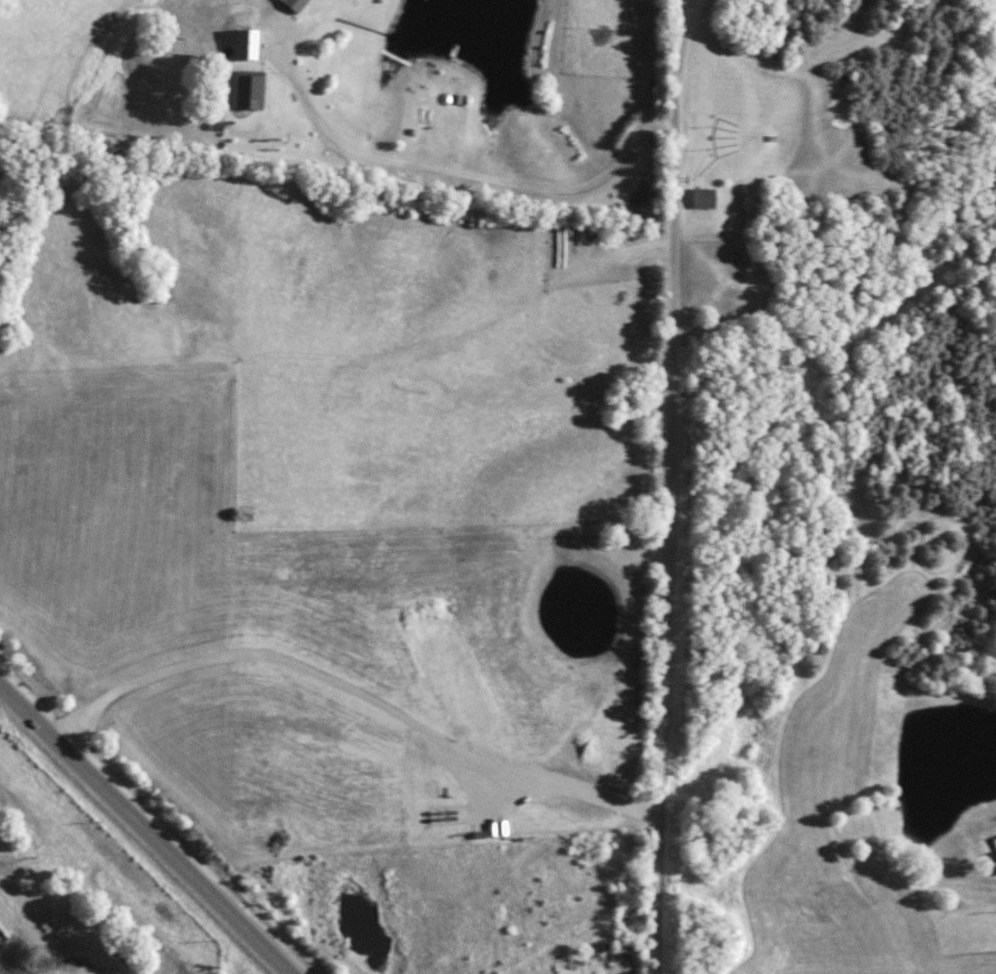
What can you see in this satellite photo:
building: (294, 4)
building: (246, 89)
building: (704, 198)
road: (671, 486)
road: (149, 827)

